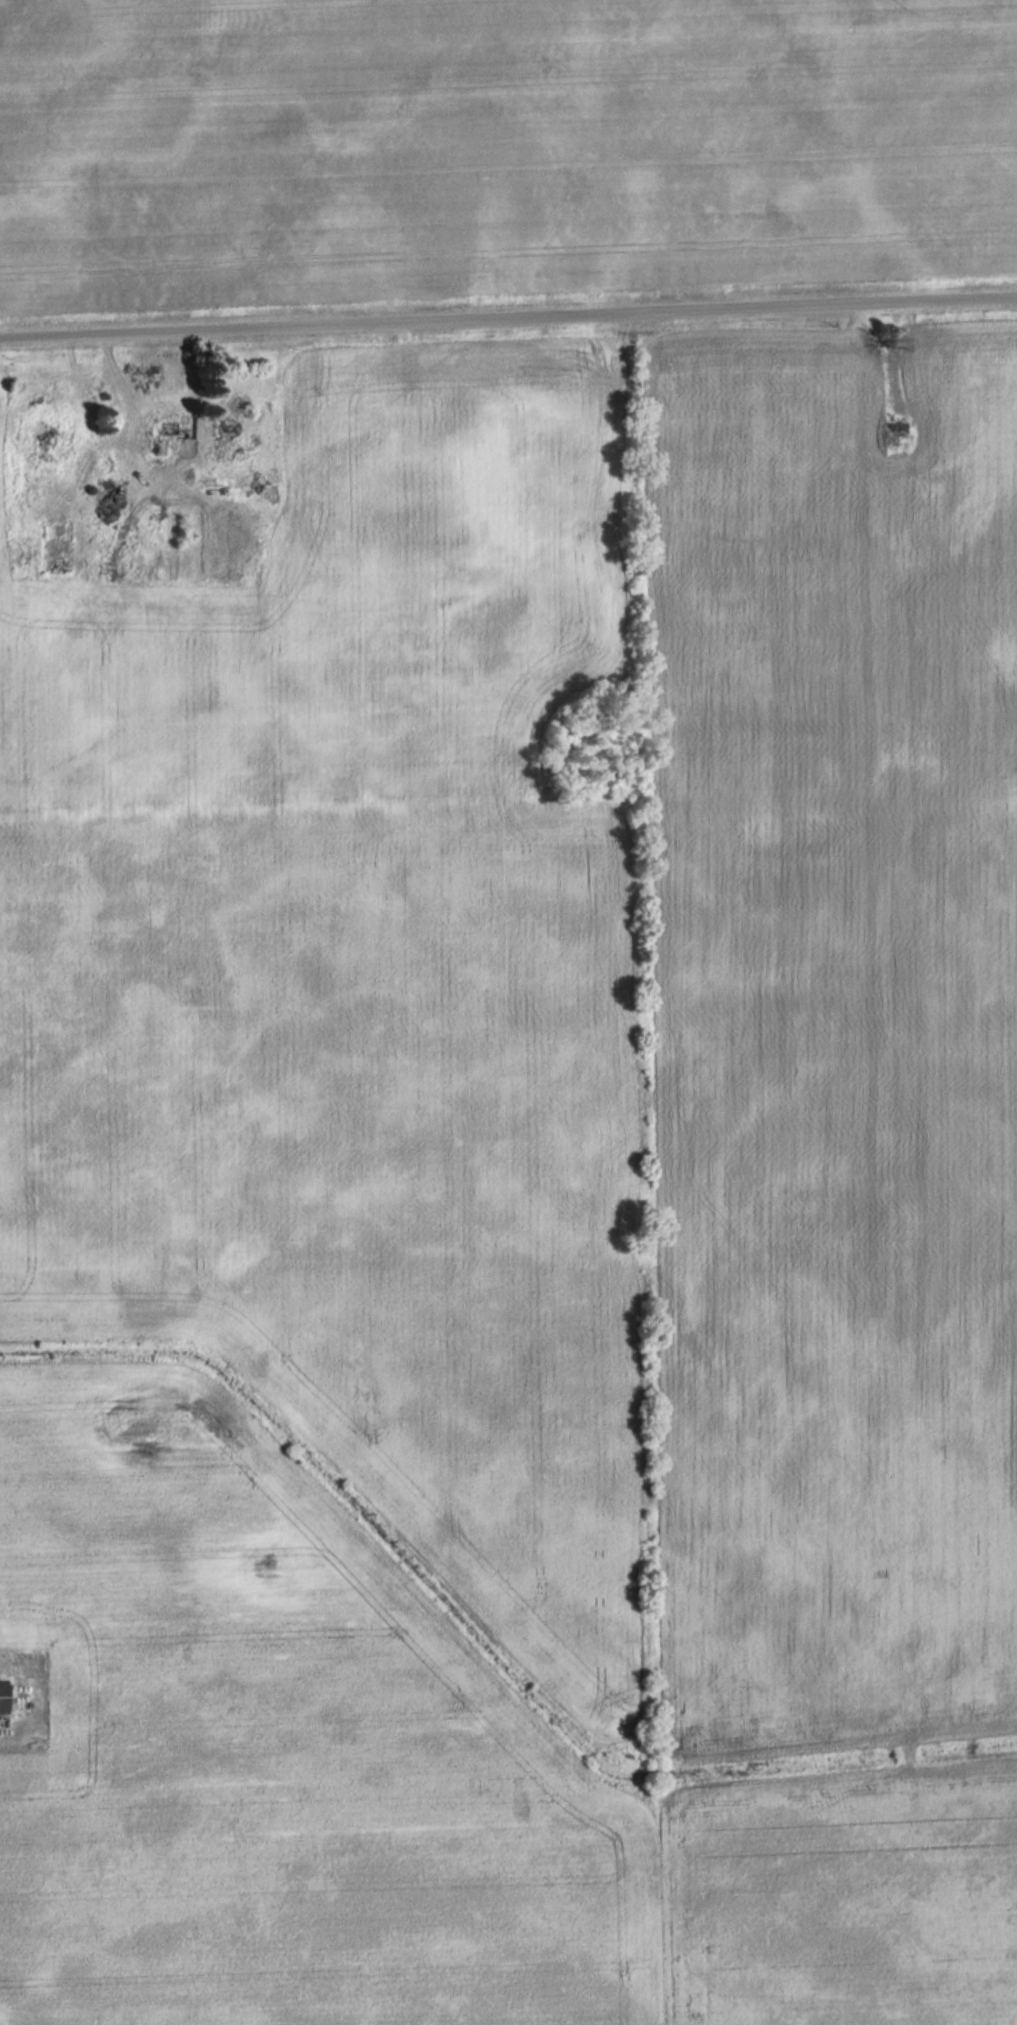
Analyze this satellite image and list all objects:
road: (508, 320)
building: (38, 405)
building: (173, 434)
building: (58, 548)

